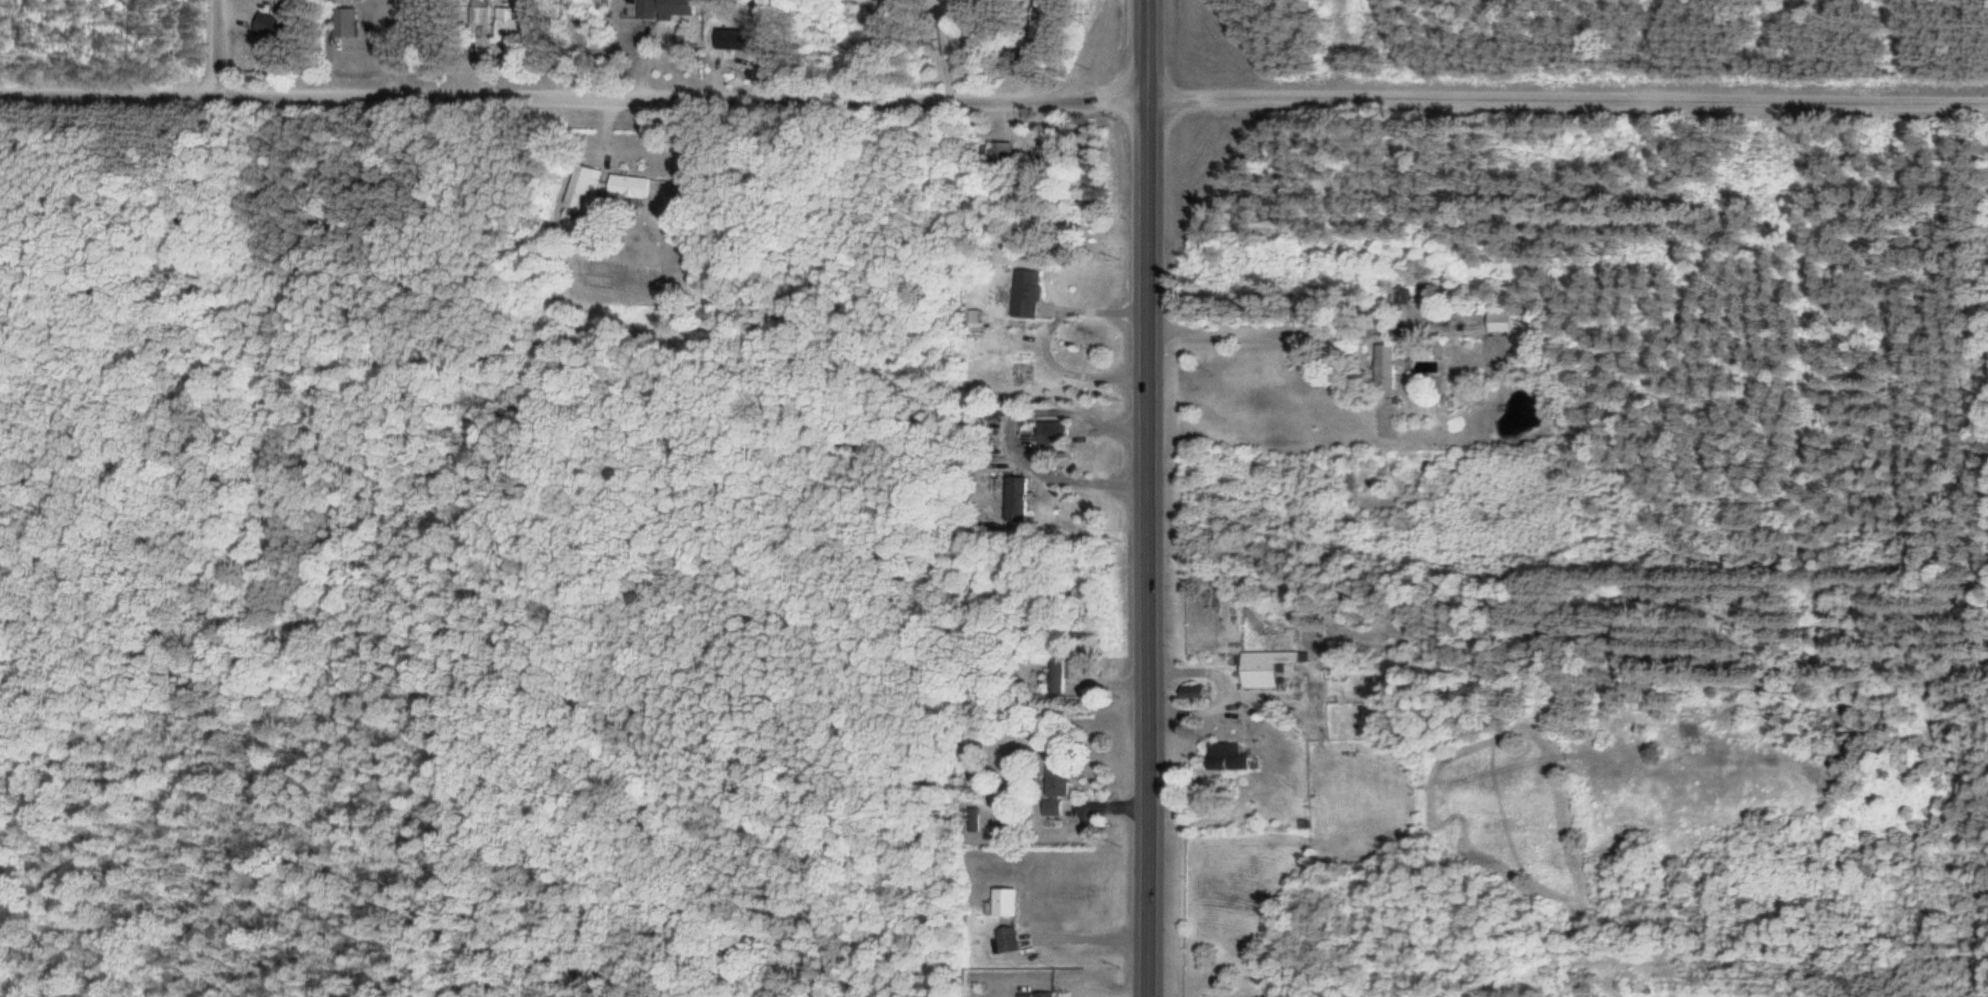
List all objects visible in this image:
building: (665, 8)
building: (480, 15)
building: (343, 22)
building: (509, 23)
building: (947, 35)
road: (220, 47)
road: (574, 96)
road: (1568, 100)
building: (1002, 154)
building: (629, 187)
building: (585, 189)
building: (1028, 294)
building: (1397, 299)
building: (1498, 322)
building: (1383, 360)
building: (1018, 367)
building: (1052, 434)
road: (1149, 498)
building: (1019, 499)
building: (1264, 667)
building: (1058, 674)
building: (1224, 756)
building: (1056, 787)
building: (979, 820)
building: (1005, 902)
building: (1008, 939)
building: (1042, 995)

